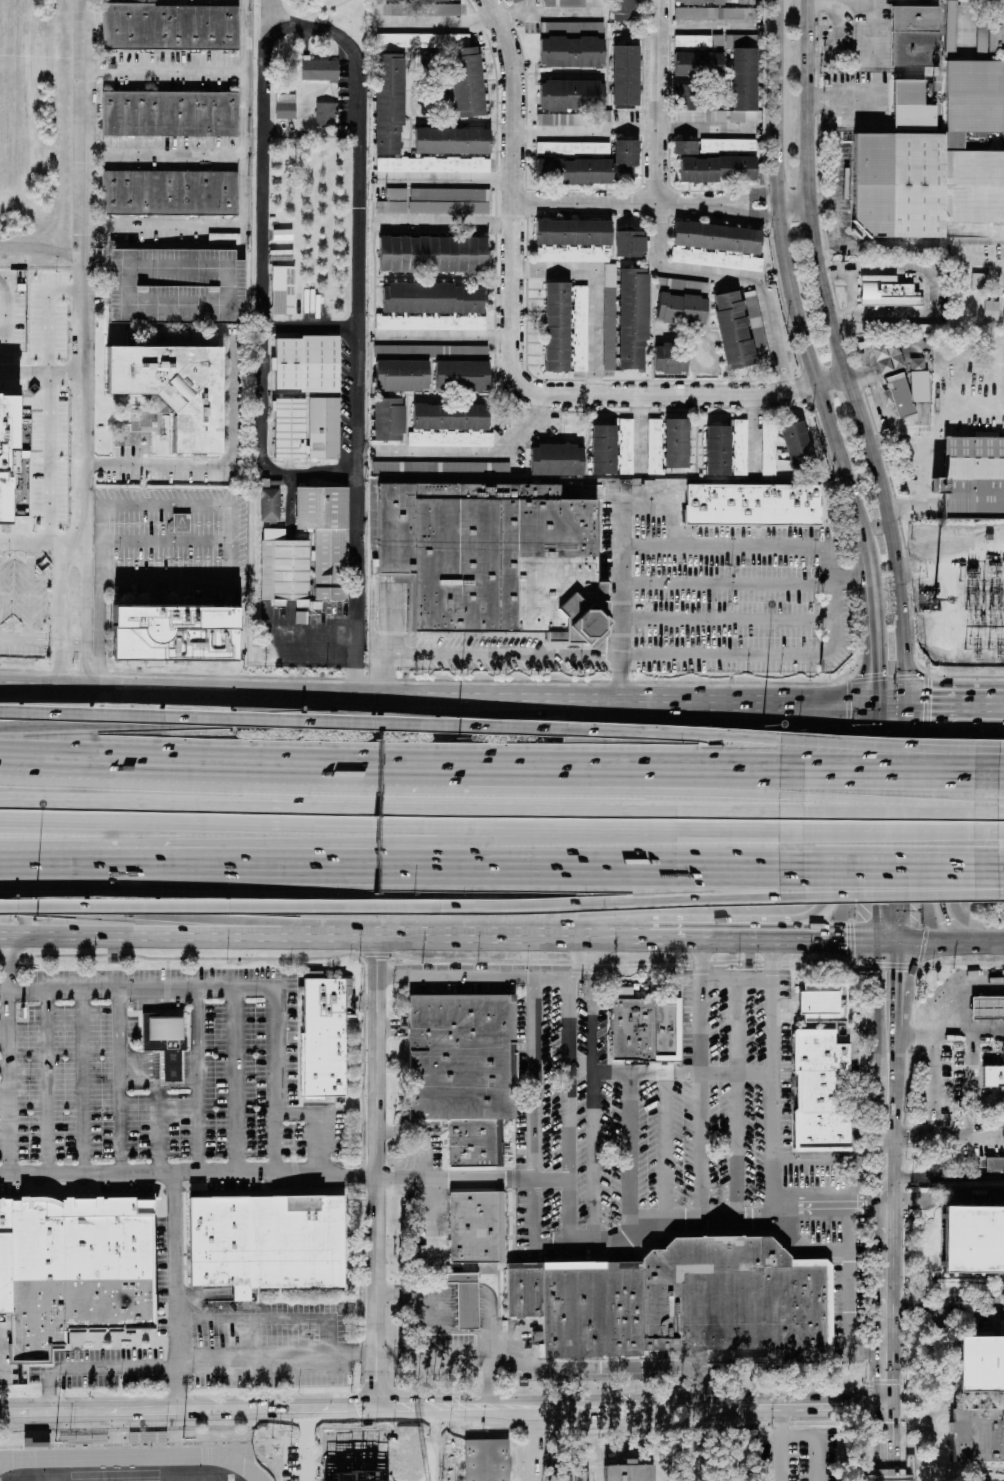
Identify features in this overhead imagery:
building: (414, 0)
building: (516, 1)
building: (697, 1)
building: (574, 3)
building: (418, 10)
building: (627, 10)
road: (551, 12)
building: (711, 13)
road: (438, 26)
building: (170, 27)
road: (704, 27)
road: (873, 35)
building: (989, 35)
building: (915, 36)
building: (572, 45)
building: (744, 60)
building: (698, 64)
road: (163, 70)
building: (320, 70)
building: (625, 75)
building: (467, 83)
building: (571, 96)
road: (853, 98)
building: (389, 105)
building: (285, 107)
road: (882, 107)
building: (912, 108)
building: (169, 114)
building: (326, 115)
building: (573, 119)
road: (633, 131)
building: (452, 141)
building: (573, 148)
road: (163, 154)
building: (716, 160)
building: (936, 163)
building: (591, 167)
road: (446, 178)
road: (835, 185)
road: (808, 190)
building: (169, 193)
road: (241, 193)
road: (747, 193)
building: (396, 194)
building: (440, 202)
road: (617, 202)
road: (792, 202)
road: (748, 215)
road: (446, 223)
building: (224, 239)
road: (827, 240)
building: (573, 241)
building: (629, 243)
road: (657, 243)
building: (716, 246)
road: (901, 248)
building: (432, 255)
road: (514, 255)
building: (610, 276)
road: (257, 281)
building: (979, 281)
road: (791, 282)
building: (176, 286)
building: (283, 290)
road: (853, 291)
road: (930, 291)
building: (887, 292)
road: (594, 293)
building: (432, 308)
building: (681, 308)
building: (991, 310)
building: (632, 317)
building: (1003, 318)
road: (8, 321)
building: (756, 322)
road: (355, 328)
building: (566, 328)
building: (929, 328)
road: (306, 329)
building: (734, 329)
road: (446, 337)
road: (82, 345)
building: (609, 347)
building: (431, 351)
building: (762, 355)
building: (307, 364)
building: (402, 376)
building: (462, 376)
road: (41, 378)
road: (832, 382)
building: (174, 389)
building: (898, 395)
road: (732, 397)
road: (855, 408)
building: (389, 419)
building: (451, 426)
building: (306, 428)
road: (639, 432)
road: (753, 434)
building: (6, 443)
building: (676, 443)
road: (930, 444)
building: (626, 445)
building: (797, 445)
building: (604, 450)
building: (717, 450)
road: (476, 451)
road: (48, 459)
building: (557, 460)
road: (213, 463)
building: (440, 468)
building: (973, 478)
building: (432, 479)
building: (270, 505)
building: (752, 506)
road: (660, 508)
building: (373, 514)
road: (234, 525)
building: (325, 538)
road: (43, 541)
road: (724, 546)
road: (102, 547)
building: (494, 559)
building: (284, 568)
road: (897, 569)
road: (848, 580)
road: (724, 584)
road: (31, 592)
power substation: (959, 593)
road: (827, 600)
road: (621, 601)
parking lot: (700, 604)
road: (58, 614)
road: (724, 622)
road: (877, 630)
building: (174, 634)
road: (29, 643)
road: (501, 654)
road: (724, 655)
traffic signals: (881, 672)
road: (382, 674)
road: (297, 693)
road: (740, 702)
road: (895, 705)
traffic signals: (933, 705)
road: (947, 705)
road: (996, 706)
road: (298, 716)
road: (282, 720)
road: (682, 736)
traffic signals: (906, 739)
road: (887, 753)
road: (232, 760)
road: (988, 761)
road: (632, 768)
road: (887, 773)
road: (988, 774)
road: (632, 782)
road: (905, 796)
road: (400, 802)
road: (851, 804)
road: (851, 808)
road: (937, 809)
road: (988, 810)
road: (882, 822)
road: (948, 822)
road: (312, 823)
road: (831, 824)
road: (712, 826)
road: (887, 827)
road: (988, 828)
road: (437, 843)
road: (125, 858)
road: (525, 862)
road: (887, 864)
road: (988, 865)
road: (988, 885)
road: (886, 891)
road: (688, 900)
traffic signals: (882, 904)
road: (288, 908)
road: (903, 914)
road: (160, 917)
road: (484, 937)
road: (160, 938)
road: (719, 939)
road: (835, 939)
traffic signals: (847, 939)
traffic signals: (903, 941)
road: (928, 941)
road: (990, 943)
road: (580, 957)
road: (475, 975)
road: (738, 978)
road: (899, 984)
road: (228, 989)
building: (622, 992)
building: (822, 995)
road: (597, 1000)
road: (702, 1006)
road: (884, 1006)
road: (949, 1009)
building: (988, 1009)
building: (820, 1026)
building: (646, 1029)
building: (164, 1031)
building: (323, 1037)
road: (7, 1056)
road: (567, 1064)
road: (4, 1066)
road: (159, 1069)
building: (464, 1071)
road: (683, 1073)
building: (994, 1074)
road: (892, 1075)
road: (533, 1076)
road: (198, 1079)
road: (236, 1080)
road: (84, 1081)
road: (121, 1081)
road: (48, 1082)
road: (934, 1085)
building: (820, 1092)
road: (738, 1097)
road: (888, 1098)
road: (571, 1108)
road: (319, 1120)
road: (773, 1122)
road: (991, 1129)
road: (160, 1130)
road: (933, 1135)
road: (667, 1146)
road: (702, 1146)
road: (593, 1156)
road: (630, 1156)
building: (995, 1165)
road: (190, 1171)
road: (380, 1174)
road: (456, 1177)
road: (552, 1178)
road: (430, 1200)
road: (945, 1200)
road: (676, 1218)
building: (476, 1228)
building: (973, 1240)
building: (266, 1242)
building: (75, 1263)
road: (889, 1263)
road: (418, 1291)
road: (466, 1291)
road: (175, 1293)
road: (849, 1295)
building: (465, 1299)
building: (681, 1302)
road: (947, 1314)
road: (489, 1318)
road: (269, 1321)
building: (1003, 1328)
road: (441, 1354)
road: (278, 1355)
building: (981, 1364)
road: (88, 1368)
road: (593, 1368)
traffic signals: (892, 1404)
road: (804, 1406)
road: (548, 1407)
road: (190, 1414)
building: (987, 1430)
road: (892, 1437)
building: (36, 1438)
road: (820, 1439)
road: (782, 1443)
road: (306, 1447)
track: (138, 1459)
building: (475, 1461)
building: (616, 1473)
building: (642, 1475)
road: (892, 1476)

